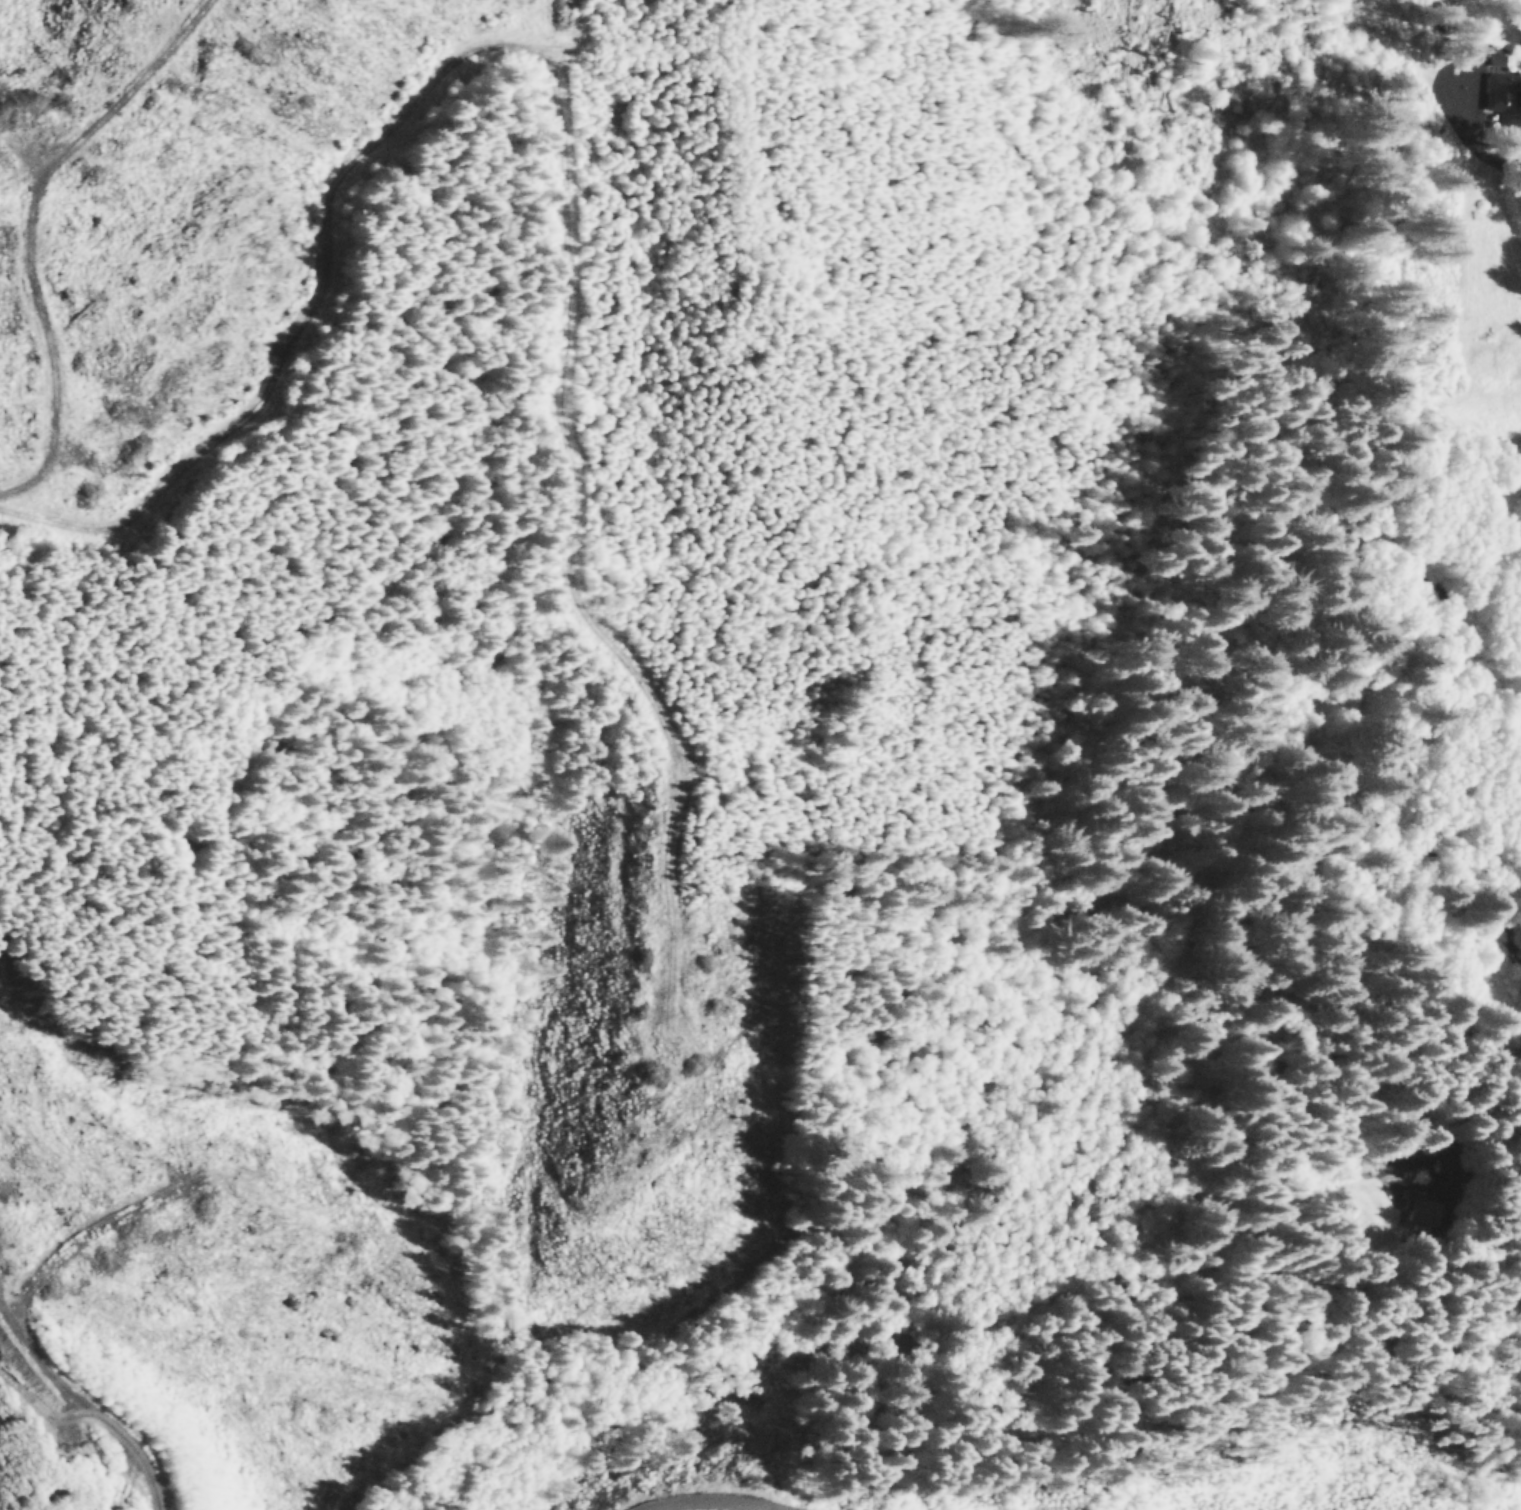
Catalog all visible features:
building: (1501, 88)
road: (323, 193)
road: (51, 230)
road: (1508, 236)
road: (84, 1405)
quarry: (83, 1419)
road: (716, 1488)

